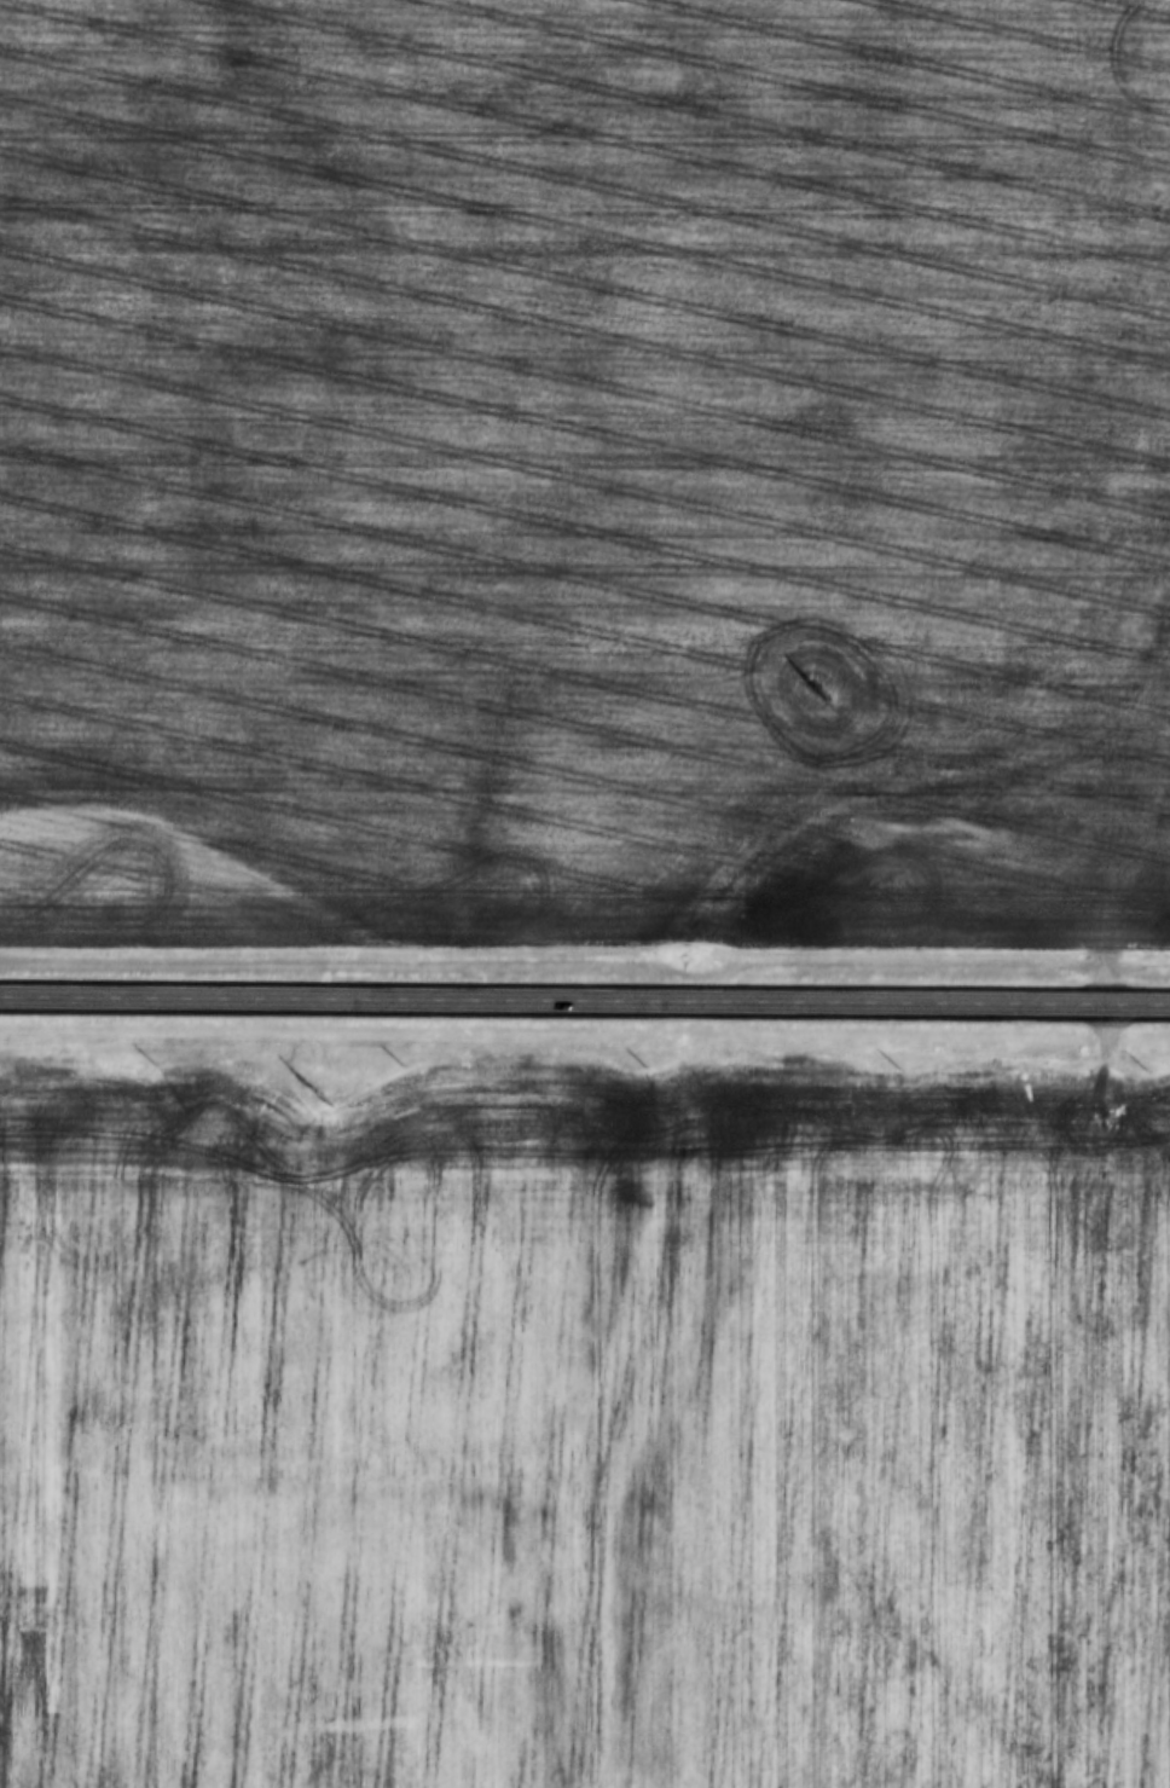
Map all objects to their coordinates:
power tower: (817, 690)
road: (585, 1001)
power tower: (320, 1095)
crop: (585, 1427)

